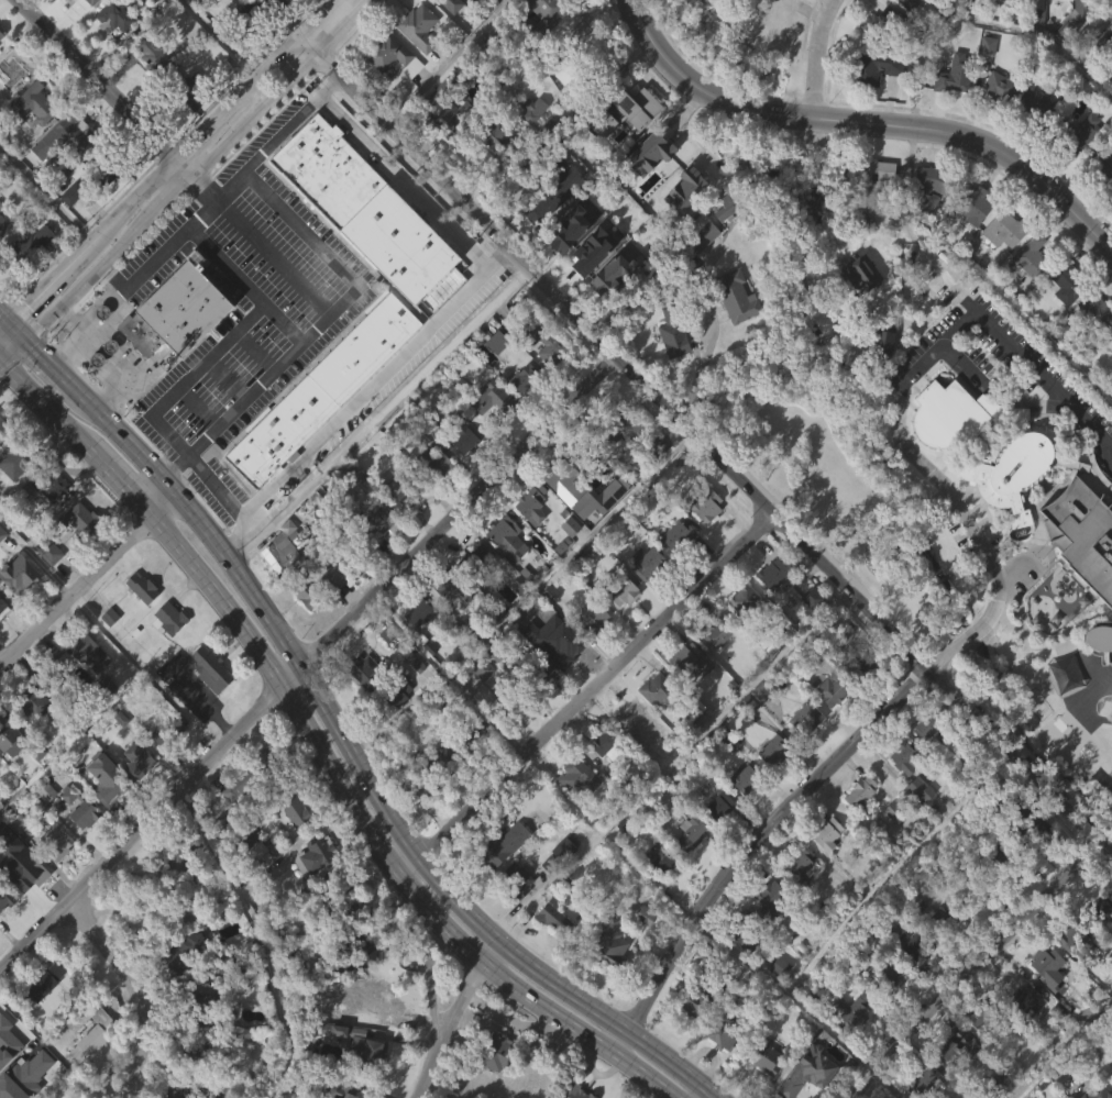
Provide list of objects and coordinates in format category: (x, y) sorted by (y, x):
building: (42, 1)
building: (80, 1)
building: (995, 1)
road: (355, 3)
building: (906, 3)
building: (452, 4)
building: (187, 5)
building: (235, 10)
building: (791, 10)
building: (946, 10)
building: (265, 11)
building: (1035, 13)
building: (113, 15)
building: (682, 19)
building: (1077, 19)
road: (983, 22)
building: (881, 24)
building: (416, 26)
building: (539, 26)
building: (85, 29)
building: (448, 31)
building: (901, 36)
building: (541, 47)
building: (390, 55)
building: (151, 56)
building: (111, 57)
road: (813, 58)
road: (447, 60)
building: (416, 67)
building: (10, 69)
building: (872, 69)
building: (953, 75)
road: (96, 85)
road: (262, 85)
building: (997, 89)
road: (280, 90)
building: (190, 92)
building: (389, 96)
building: (152, 97)
building: (35, 102)
building: (444, 103)
building: (1034, 106)
building: (628, 111)
building: (891, 111)
building: (10, 113)
building: (562, 114)
building: (951, 114)
building: (552, 121)
road: (867, 125)
building: (995, 127)
building: (489, 130)
building: (1075, 133)
building: (74, 134)
building: (190, 134)
road: (282, 134)
building: (34, 143)
building: (444, 145)
building: (1033, 146)
building: (634, 147)
building: (529, 148)
building: (601, 164)
building: (1101, 164)
building: (99, 169)
road: (393, 170)
building: (1079, 171)
road: (186, 175)
building: (493, 175)
building: (60, 177)
building: (868, 179)
building: (931, 184)
building: (553, 189)
road: (153, 193)
building: (1110, 193)
road: (48, 195)
building: (972, 202)
building: (1100, 202)
road: (165, 206)
building: (0, 207)
building: (102, 212)
building: (366, 212)
building: (870, 220)
building: (2, 226)
building: (924, 228)
building: (1004, 228)
building: (681, 231)
building: (698, 232)
building: (1110, 232)
building: (71, 234)
building: (972, 244)
building: (0, 246)
building: (27, 248)
building: (537, 249)
building: (724, 249)
building: (1030, 257)
road: (273, 258)
building: (2, 265)
road: (69, 270)
building: (566, 270)
building: (1000, 270)
building: (858, 273)
building: (698, 274)
building: (658, 276)
road: (113, 278)
road: (132, 280)
building: (29, 281)
building: (1066, 284)
road: (85, 285)
building: (588, 292)
building: (735, 296)
building: (1027, 296)
road: (344, 298)
building: (176, 311)
building: (1096, 311)
building: (859, 314)
road: (7, 317)
building: (609, 317)
building: (1059, 320)
traffic signals: (13, 323)
road: (70, 323)
road: (282, 323)
road: (22, 331)
building: (671, 331)
road: (7, 334)
building: (734, 336)
building: (1109, 336)
traffic signals: (31, 340)
building: (881, 340)
building: (550, 341)
road: (227, 342)
road: (15, 345)
road: (707, 350)
building: (174, 351)
building: (1111, 354)
road: (54, 363)
road: (960, 364)
road: (121, 368)
road: (764, 373)
building: (823, 377)
building: (1109, 377)
building: (522, 378)
building: (671, 379)
building: (495, 381)
building: (881, 382)
building: (319, 389)
road: (364, 393)
building: (1110, 395)
building: (492, 399)
road: (47, 404)
road: (895, 407)
building: (956, 412)
road: (381, 413)
building: (522, 419)
building: (3, 429)
building: (319, 430)
building: (613, 431)
building: (462, 437)
building: (491, 442)
road: (708, 446)
building: (949, 455)
building: (14, 457)
building: (437, 463)
building: (1017, 472)
building: (557, 474)
road: (121, 480)
building: (462, 480)
building: (49, 485)
road: (218, 486)
building: (404, 489)
road: (158, 493)
building: (704, 499)
building: (12, 502)
building: (436, 502)
building: (530, 503)
building: (1008, 517)
building: (377, 518)
building: (79, 519)
building: (560, 522)
building: (45, 525)
building: (399, 532)
building: (1081, 534)
building: (676, 535)
building: (506, 536)
building: (596, 537)
building: (529, 544)
building: (704, 545)
building: (279, 547)
building: (46, 551)
building: (376, 555)
building: (474, 557)
building: (79, 559)
building: (647, 562)
building: (771, 574)
building: (675, 575)
building: (19, 577)
building: (1081, 577)
building: (507, 579)
building: (448, 584)
building: (316, 586)
building: (139, 587)
road: (78, 589)
building: (47, 590)
building: (620, 590)
building: (277, 592)
building: (476, 595)
building: (742, 601)
building: (645, 602)
building: (2, 607)
building: (416, 613)
building: (330, 615)
building: (166, 618)
building: (590, 618)
building: (772, 618)
building: (139, 628)
building: (443, 628)
building: (715, 631)
building: (619, 632)
building: (306, 635)
building: (810, 639)
building: (1100, 639)
building: (741, 641)
building: (562, 645)
building: (86, 652)
building: (852, 653)
building: (417, 654)
building: (107, 656)
building: (167, 657)
building: (588, 658)
building: (684, 659)
road: (307, 663)
building: (481, 667)
building: (209, 669)
building: (364, 669)
building: (714, 673)
building: (533, 674)
building: (384, 675)
building: (1100, 678)
building: (560, 687)
building: (659, 688)
building: (398, 690)
building: (99, 691)
road: (584, 691)
building: (828, 691)
building: (682, 696)
building: (860, 702)
building: (504, 703)
building: (30, 706)
building: (691, 706)
building: (207, 708)
building: (449, 708)
building: (751, 709)
building: (538, 710)
building: (363, 711)
building: (629, 714)
building: (804, 719)
building: (929, 728)
building: (165, 730)
building: (653, 730)
building: (398, 732)
building: (826, 732)
building: (752, 737)
building: (12, 741)
building: (604, 744)
building: (772, 751)
building: (629, 753)
building: (803, 757)
building: (905, 757)
building: (135, 758)
building: (923, 767)
building: (166, 770)
building: (432, 772)
building: (253, 774)
road: (363, 774)
building: (576, 776)
building: (741, 779)
building: (10, 780)
building: (102, 781)
building: (604, 784)
building: (918, 789)
building: (770, 790)
building: (858, 794)
building: (901, 797)
building: (136, 799)
building: (78, 806)
building: (717, 807)
building: (294, 810)
building: (573, 816)
building: (740, 817)
building: (104, 819)
building: (222, 824)
building: (916, 830)
building: (1030, 830)
building: (858, 832)
building: (689, 833)
building: (826, 834)
road: (372, 836)
building: (55, 839)
building: (245, 842)
building: (717, 845)
building: (498, 846)
road: (750, 846)
building: (890, 849)
building: (562, 850)
building: (293, 851)
building: (316, 854)
building: (81, 855)
building: (175, 858)
building: (661, 858)
building: (994, 859)
building: (18, 862)
building: (799, 865)
building: (689, 872)
building: (825, 875)
building: (54, 877)
building: (515, 880)
building: (253, 886)
building: (973, 886)
building: (561, 888)
building: (7, 895)
building: (770, 895)
building: (313, 896)
building: (659, 898)
building: (340, 903)
building: (797, 905)
building: (1100, 907)
building: (176, 909)
building: (945, 917)
building: (514, 918)
building: (551, 918)
building: (745, 931)
building: (768, 935)
building: (607, 939)
building: (4, 941)
building: (1082, 942)
building: (916, 944)
building: (359, 950)
building: (181, 952)
building: (642, 955)
building: (942, 957)
building: (551, 958)
road: (978, 968)
building: (1047, 968)
building: (877, 969)
building: (1066, 978)
building: (608, 980)
building: (43, 981)
building: (907, 985)
road: (134, 990)
building: (181, 992)
building: (1026, 996)
building: (363, 999)
road: (430, 1001)
building: (697, 1001)
building: (777, 1007)
building: (196, 1008)
building: (1045, 1009)
building: (855, 1010)
building: (885, 1011)
building: (981, 1017)
road: (451, 1018)
building: (42, 1023)
building: (723, 1033)
building: (92, 1035)
building: (200, 1035)
building: (691, 1042)
building: (960, 1043)
road: (1063, 1047)
building: (855, 1049)
building: (190, 1052)
building: (494, 1053)
building: (365, 1055)
building: (763, 1057)
building: (977, 1057)
road: (1097, 1060)
road: (575, 1069)
building: (807, 1071)
building: (722, 1072)
building: (91, 1074)
building: (926, 1079)
building: (7, 1080)
building: (1001, 1083)
road: (892, 1085)
building: (954, 1085)
building: (493, 1086)
building: (344, 1088)
building: (368, 1088)
building: (764, 1091)
building: (576, 1093)
road: (702, 1093)
building: (1097, 1093)
building: (172, 1094)
building: (462, 1097)

